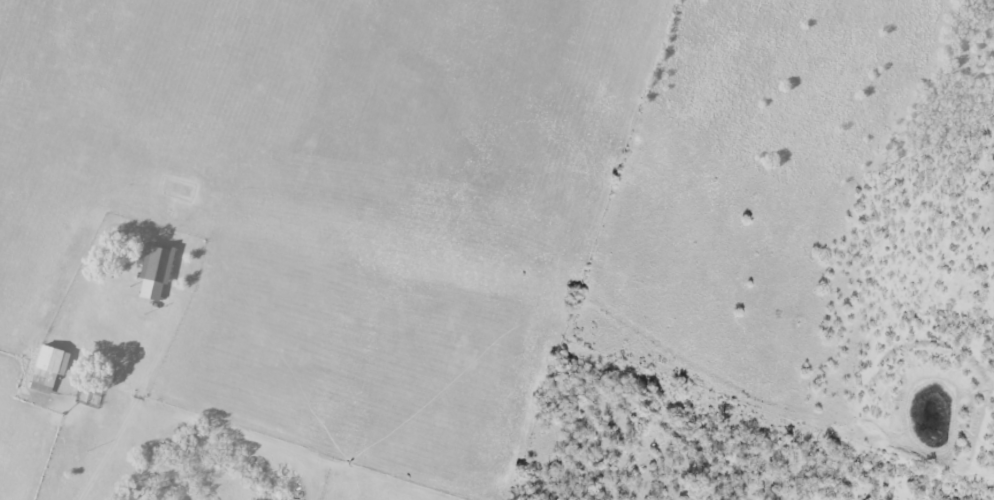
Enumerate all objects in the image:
building: (156, 263)
building: (48, 368)
road: (133, 404)

